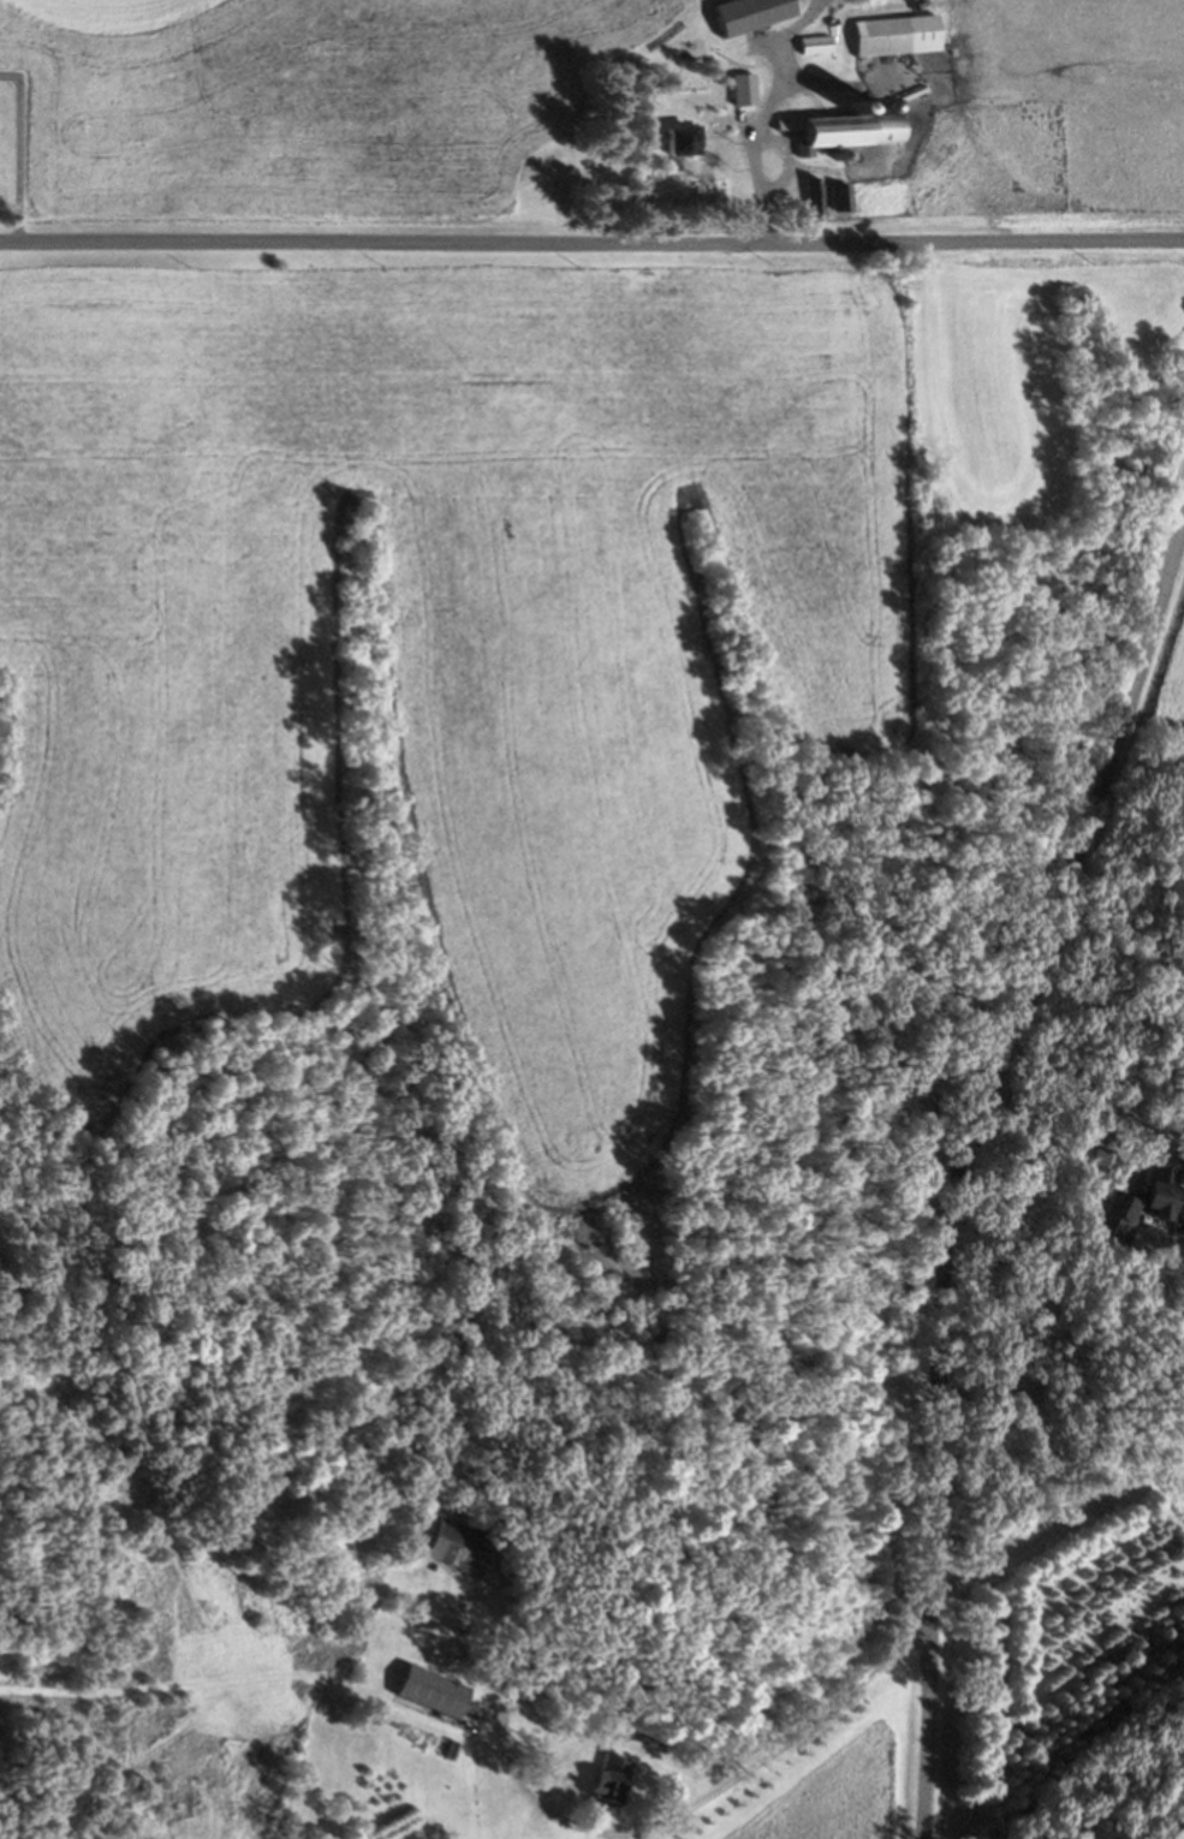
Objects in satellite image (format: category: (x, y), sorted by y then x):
building: (745, 13)
building: (893, 32)
building: (813, 41)
building: (740, 90)
building: (833, 130)
building: (680, 138)
park: (14, 150)
road: (17, 150)
building: (839, 195)
building: (809, 197)
road: (591, 244)
road: (959, 1159)
building: (1159, 1188)
building: (1112, 1213)
road: (1005, 1220)
road: (1060, 1513)
building: (457, 1546)
building: (430, 1690)
building: (450, 1746)
building: (609, 1775)
road: (706, 1798)

